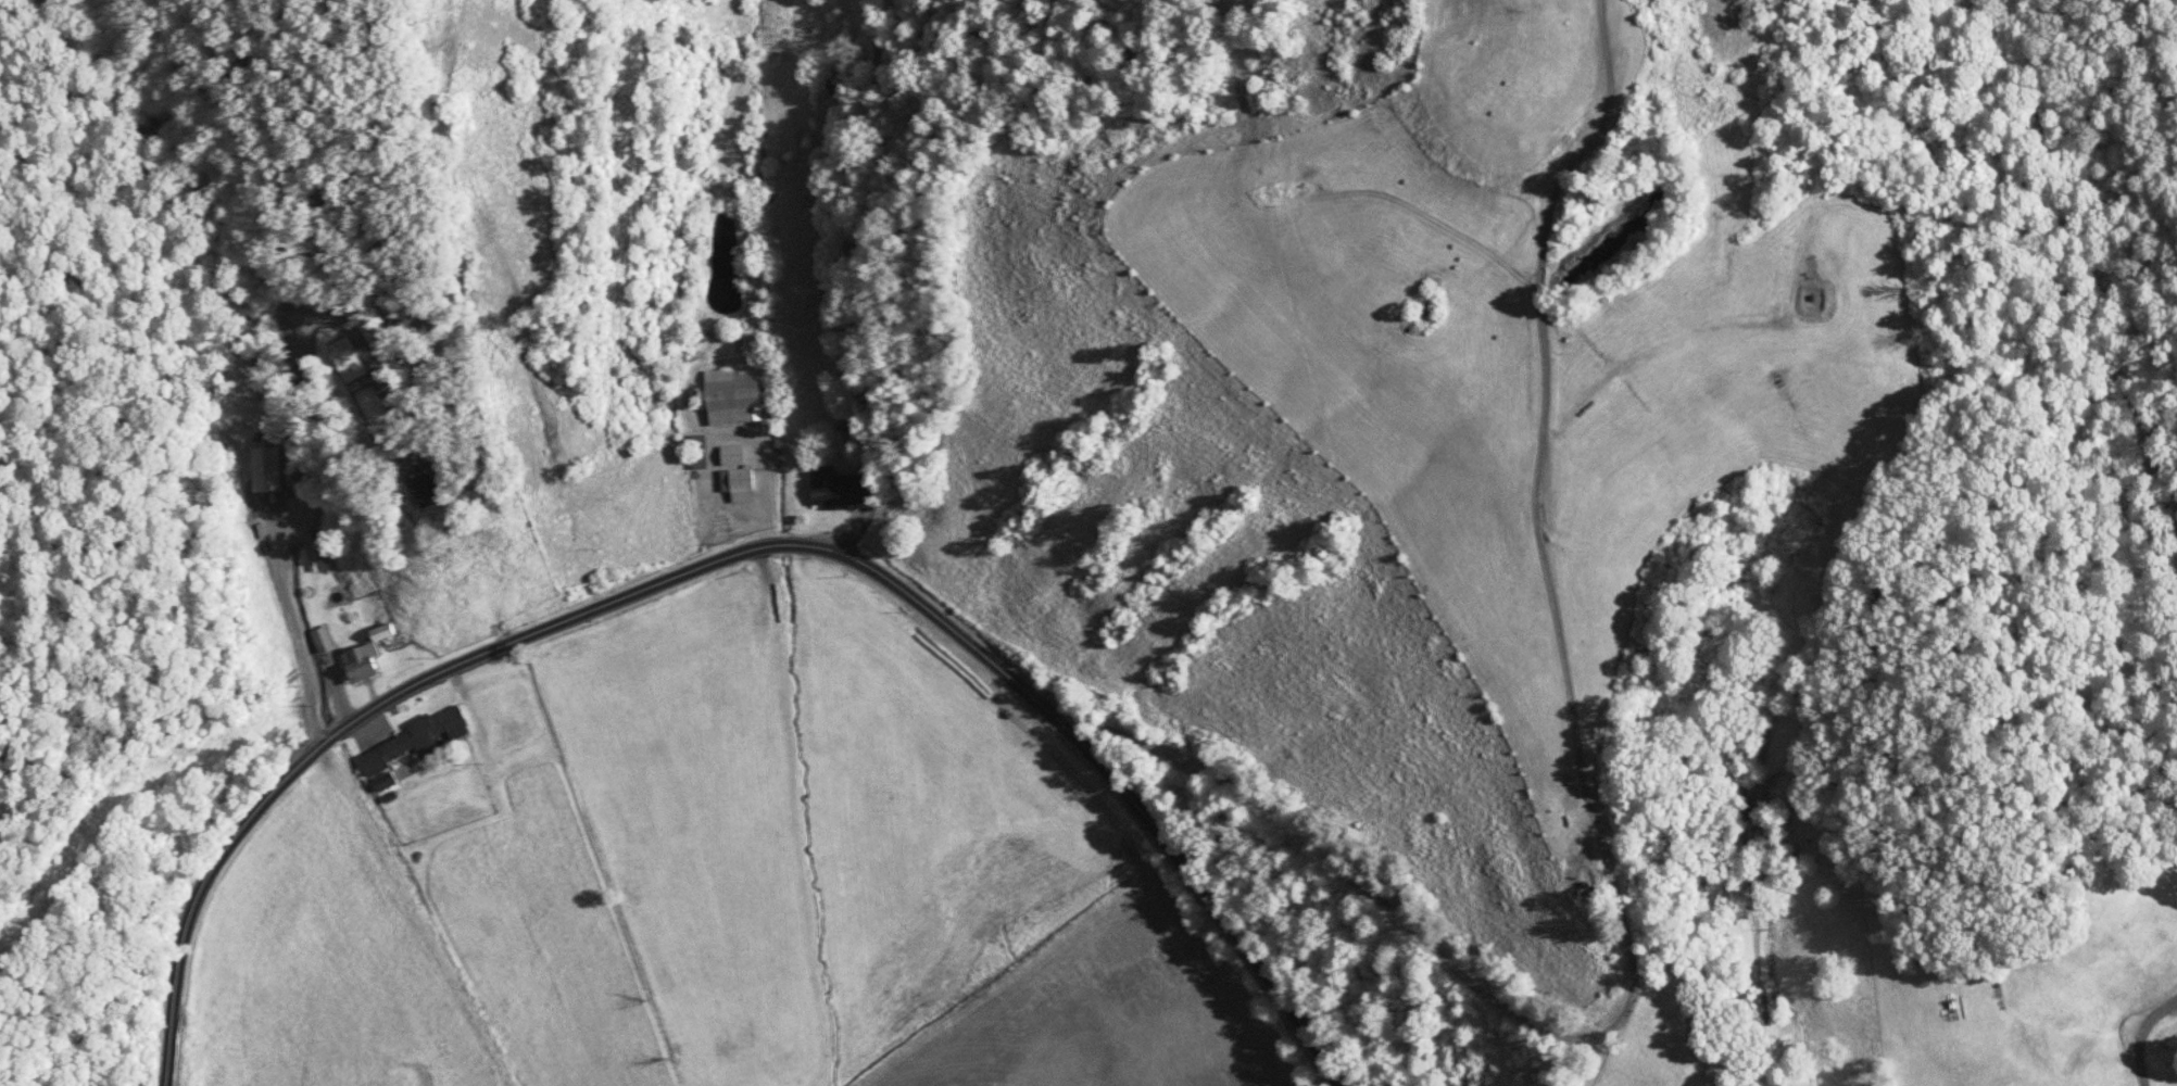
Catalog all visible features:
road: (827, 277)
building: (347, 359)
building: (735, 396)
building: (700, 453)
building: (269, 470)
building: (839, 489)
building: (440, 492)
road: (731, 554)
building: (320, 640)
building: (363, 665)
building: (416, 740)
road: (1593, 833)

